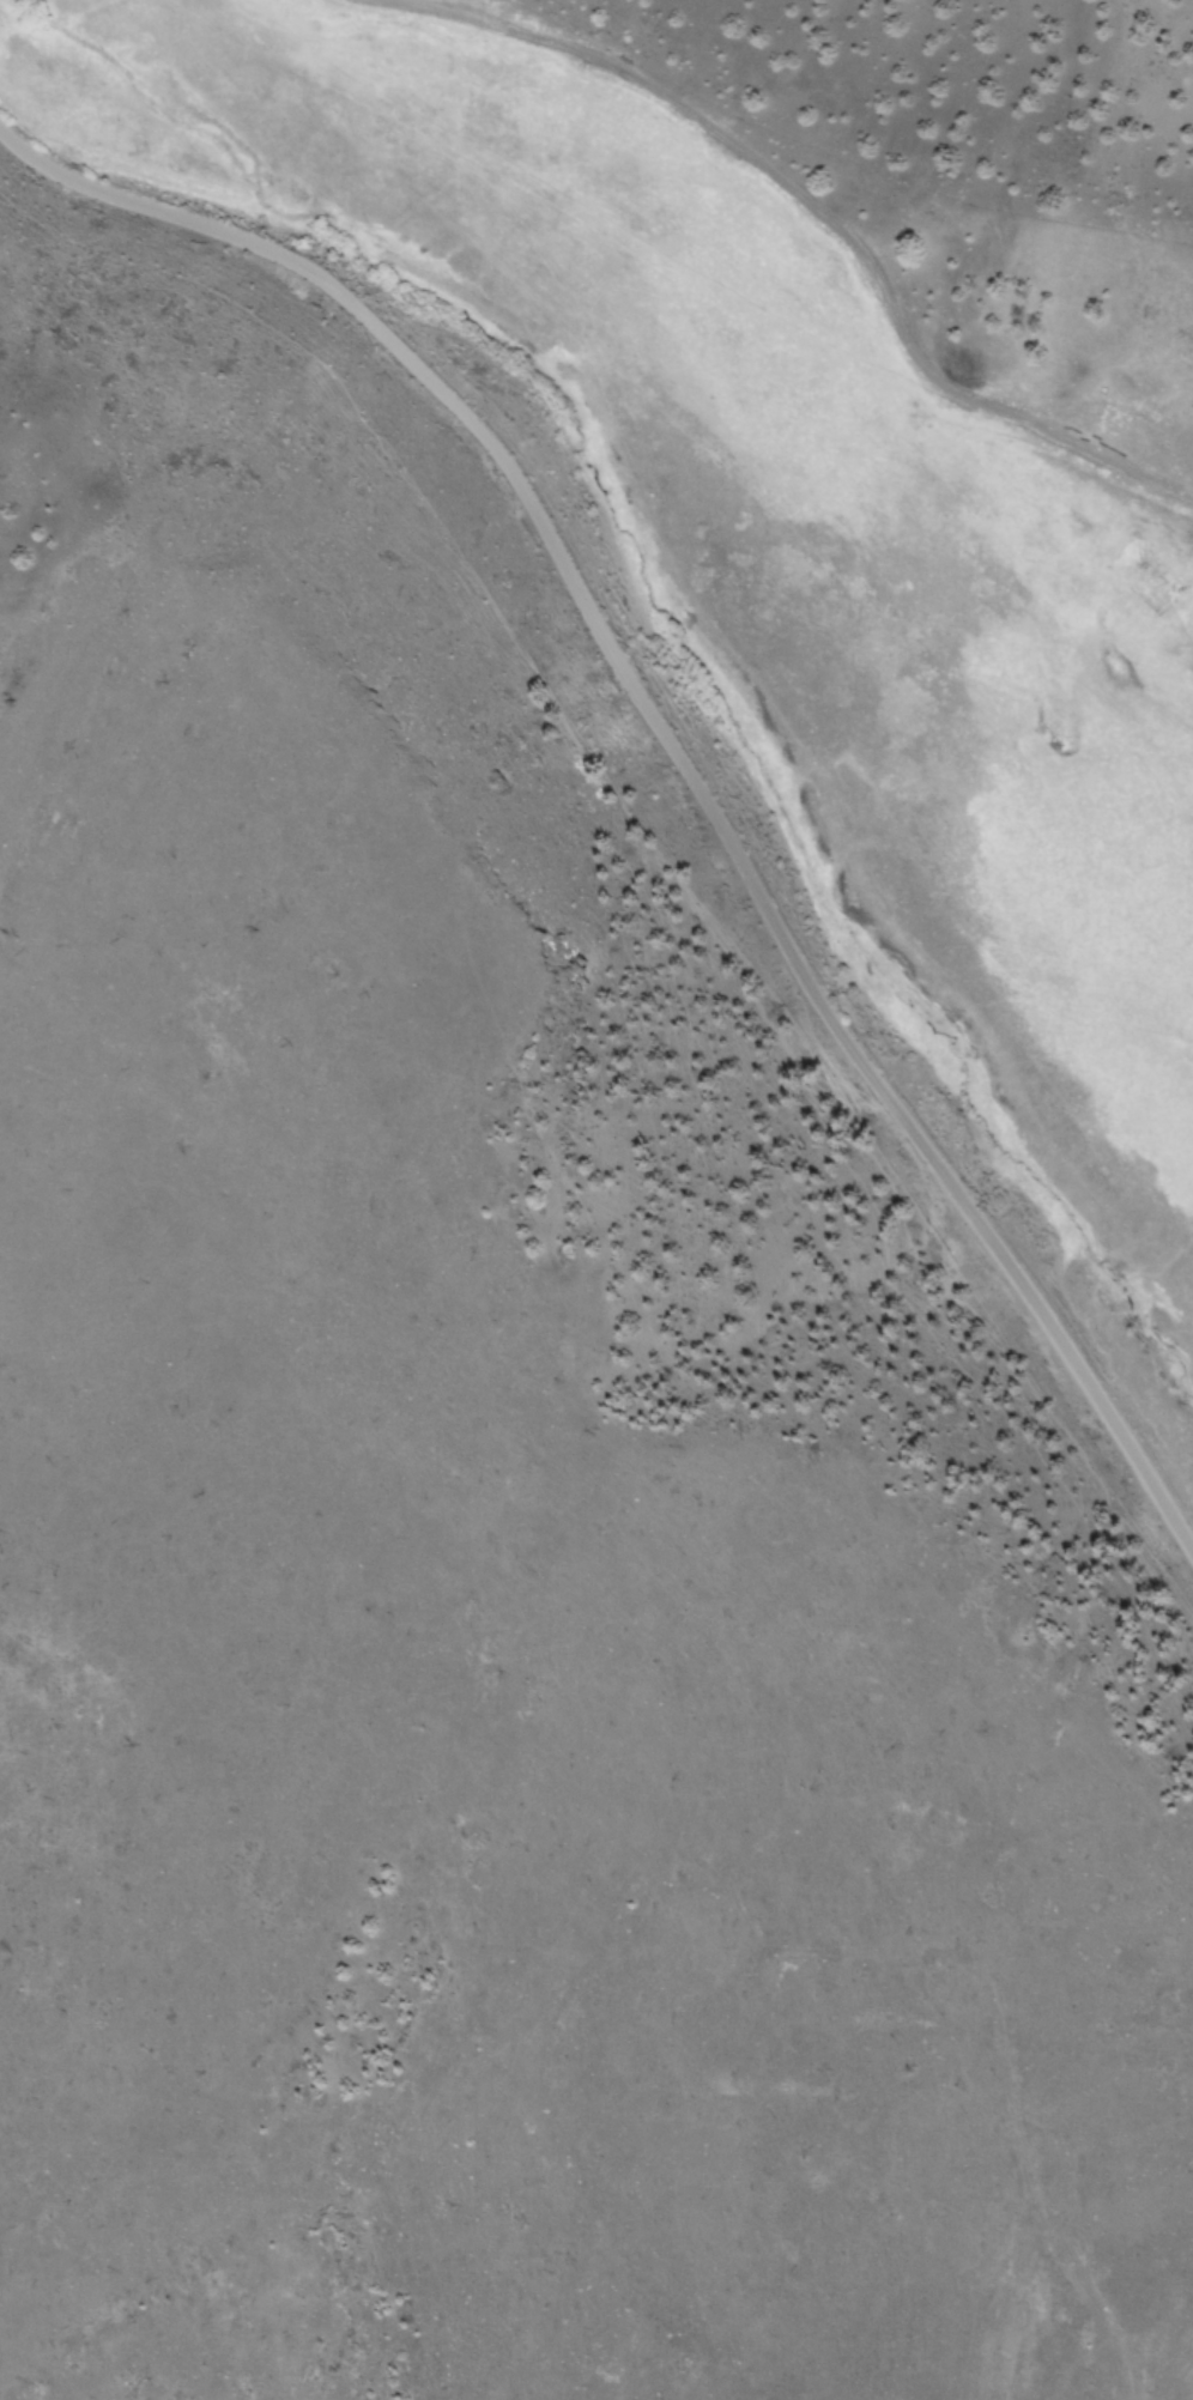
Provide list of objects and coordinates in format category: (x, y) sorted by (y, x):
road: (870, 201)
road: (678, 704)

